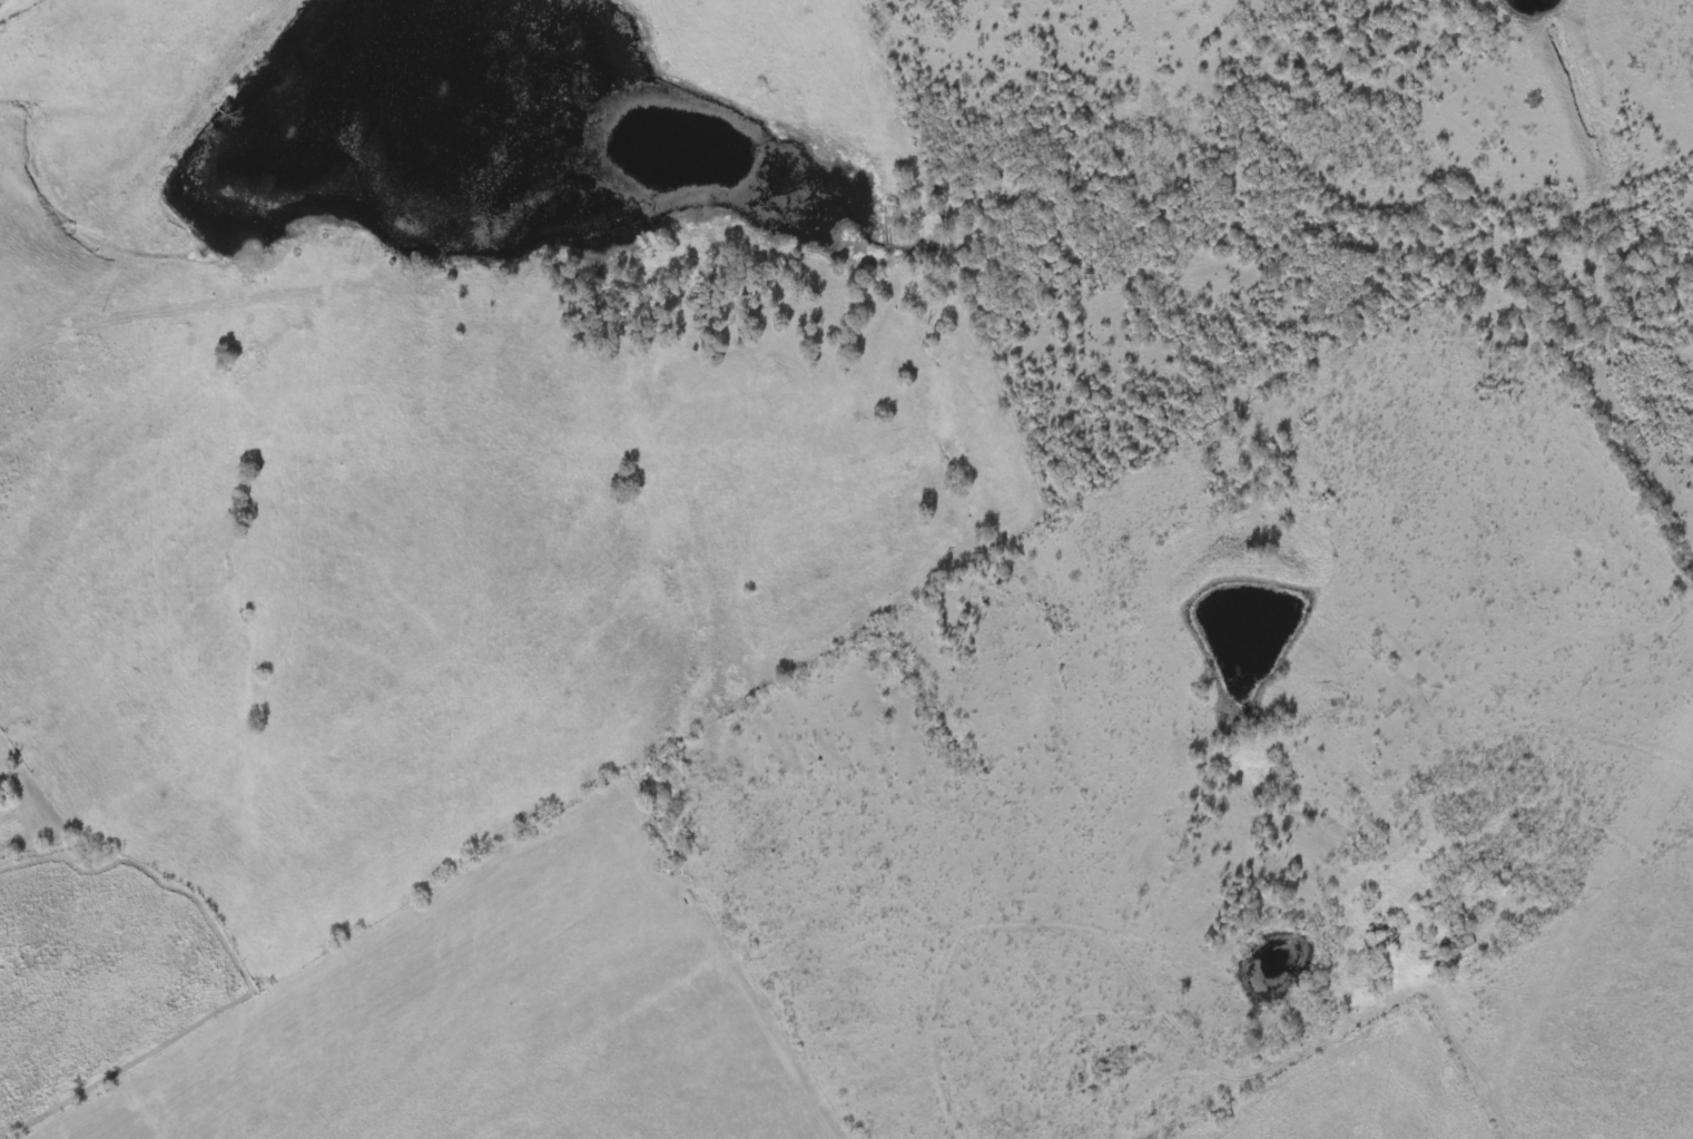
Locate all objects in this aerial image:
road: (117, 385)

